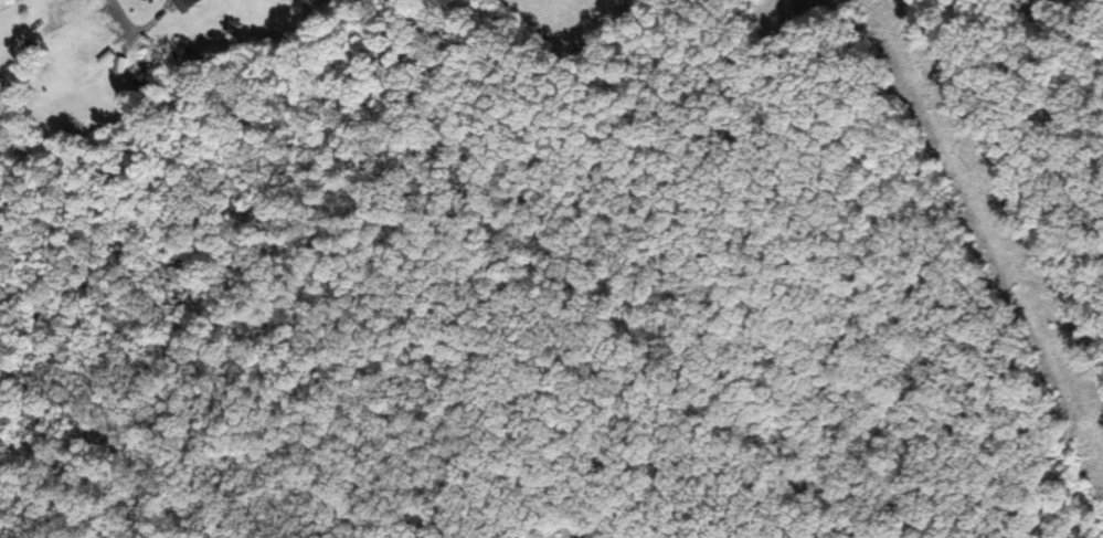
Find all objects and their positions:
building: (188, 4)

